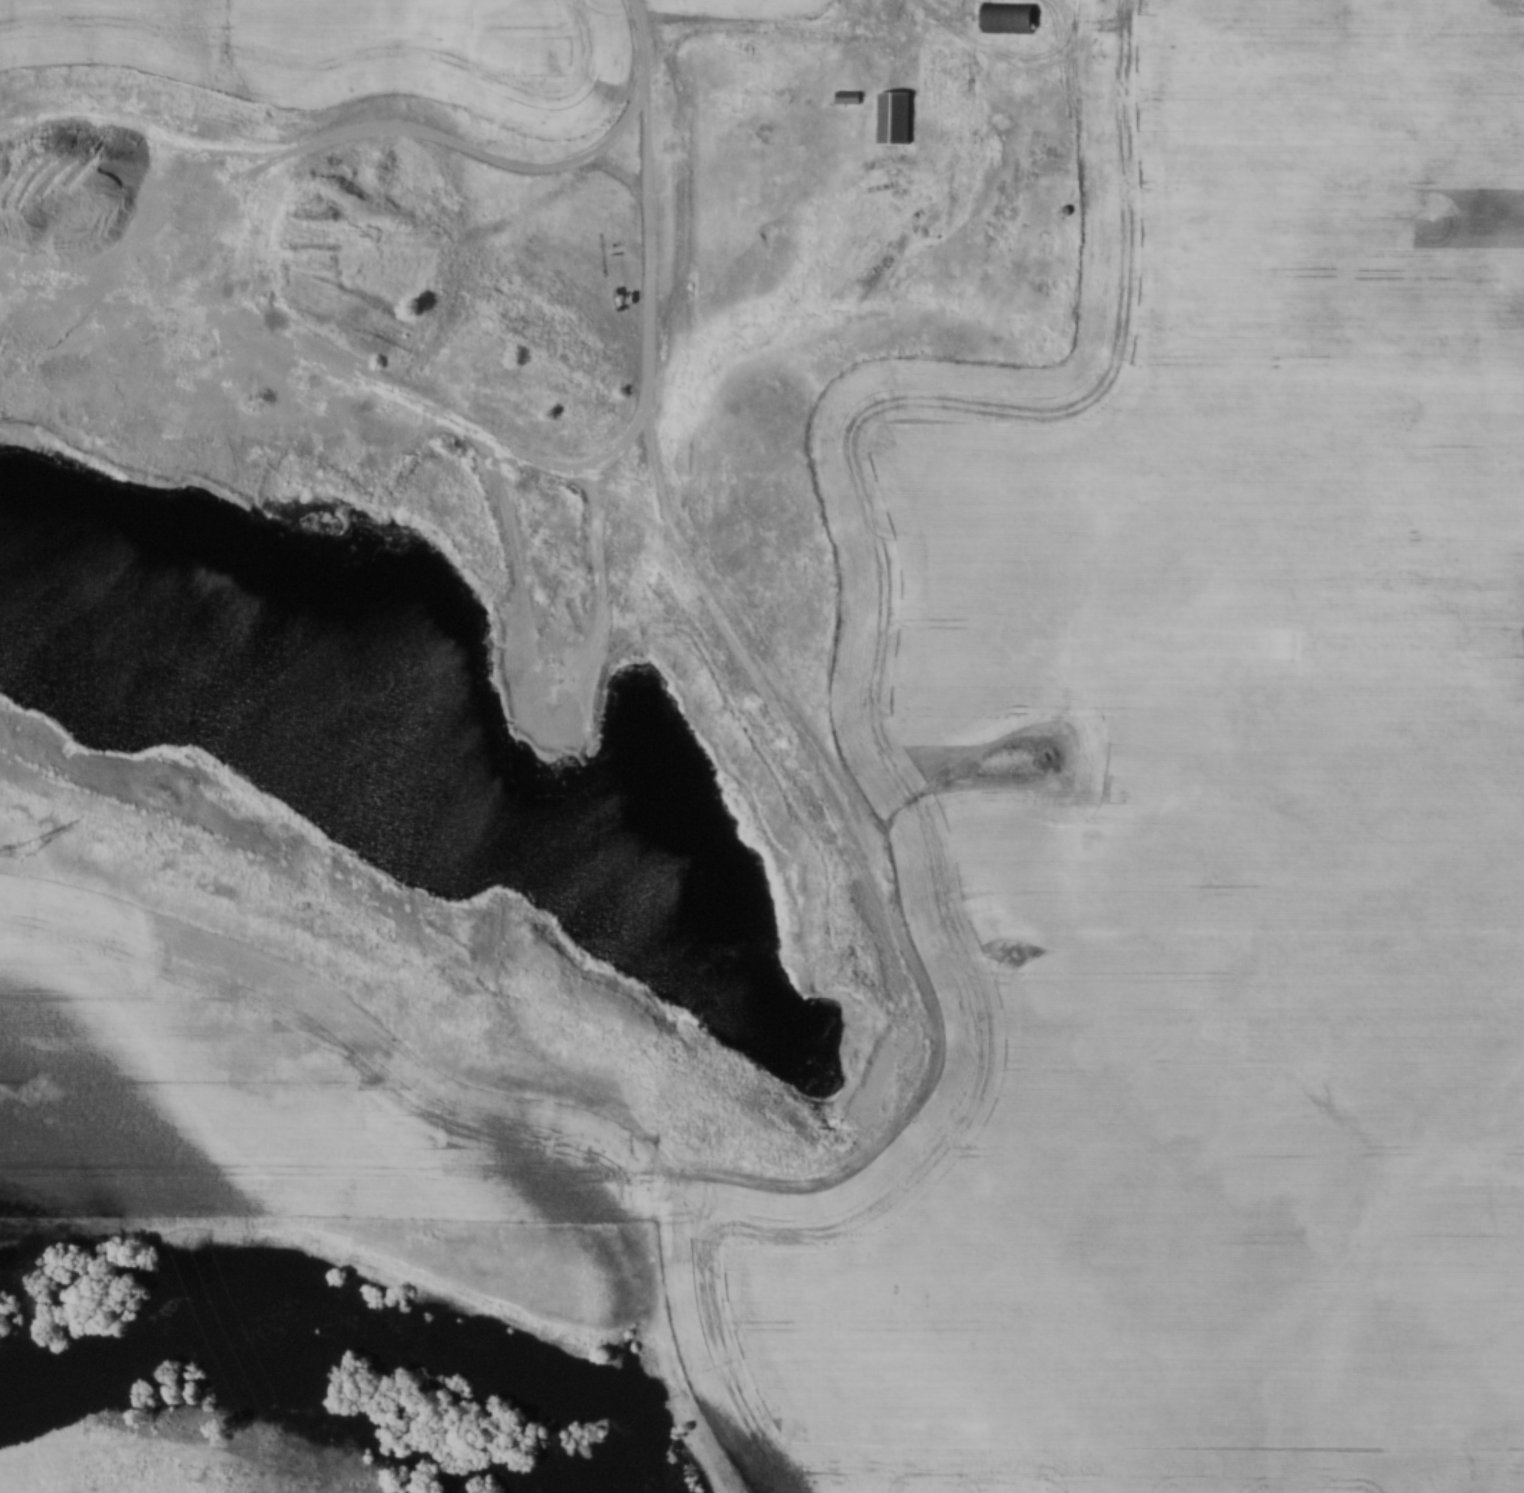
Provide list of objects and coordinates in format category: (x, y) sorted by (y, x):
building: (1006, 17)
building: (848, 98)
building: (895, 119)
power tower: (29, 856)
river: (357, 1317)

